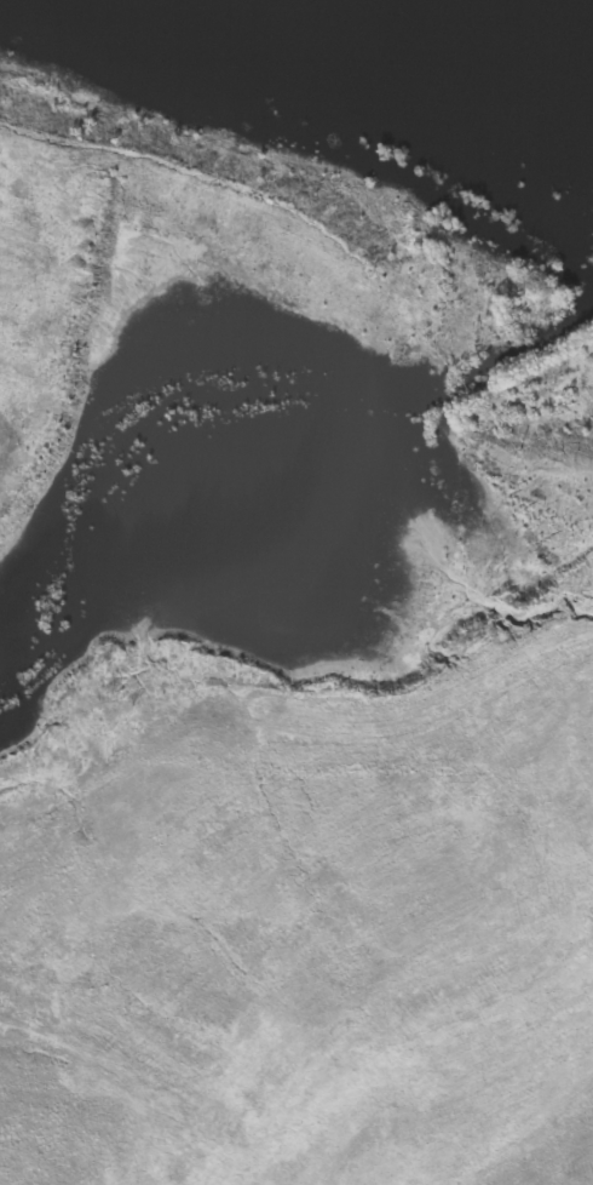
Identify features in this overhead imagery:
quarry: (296, 592)

